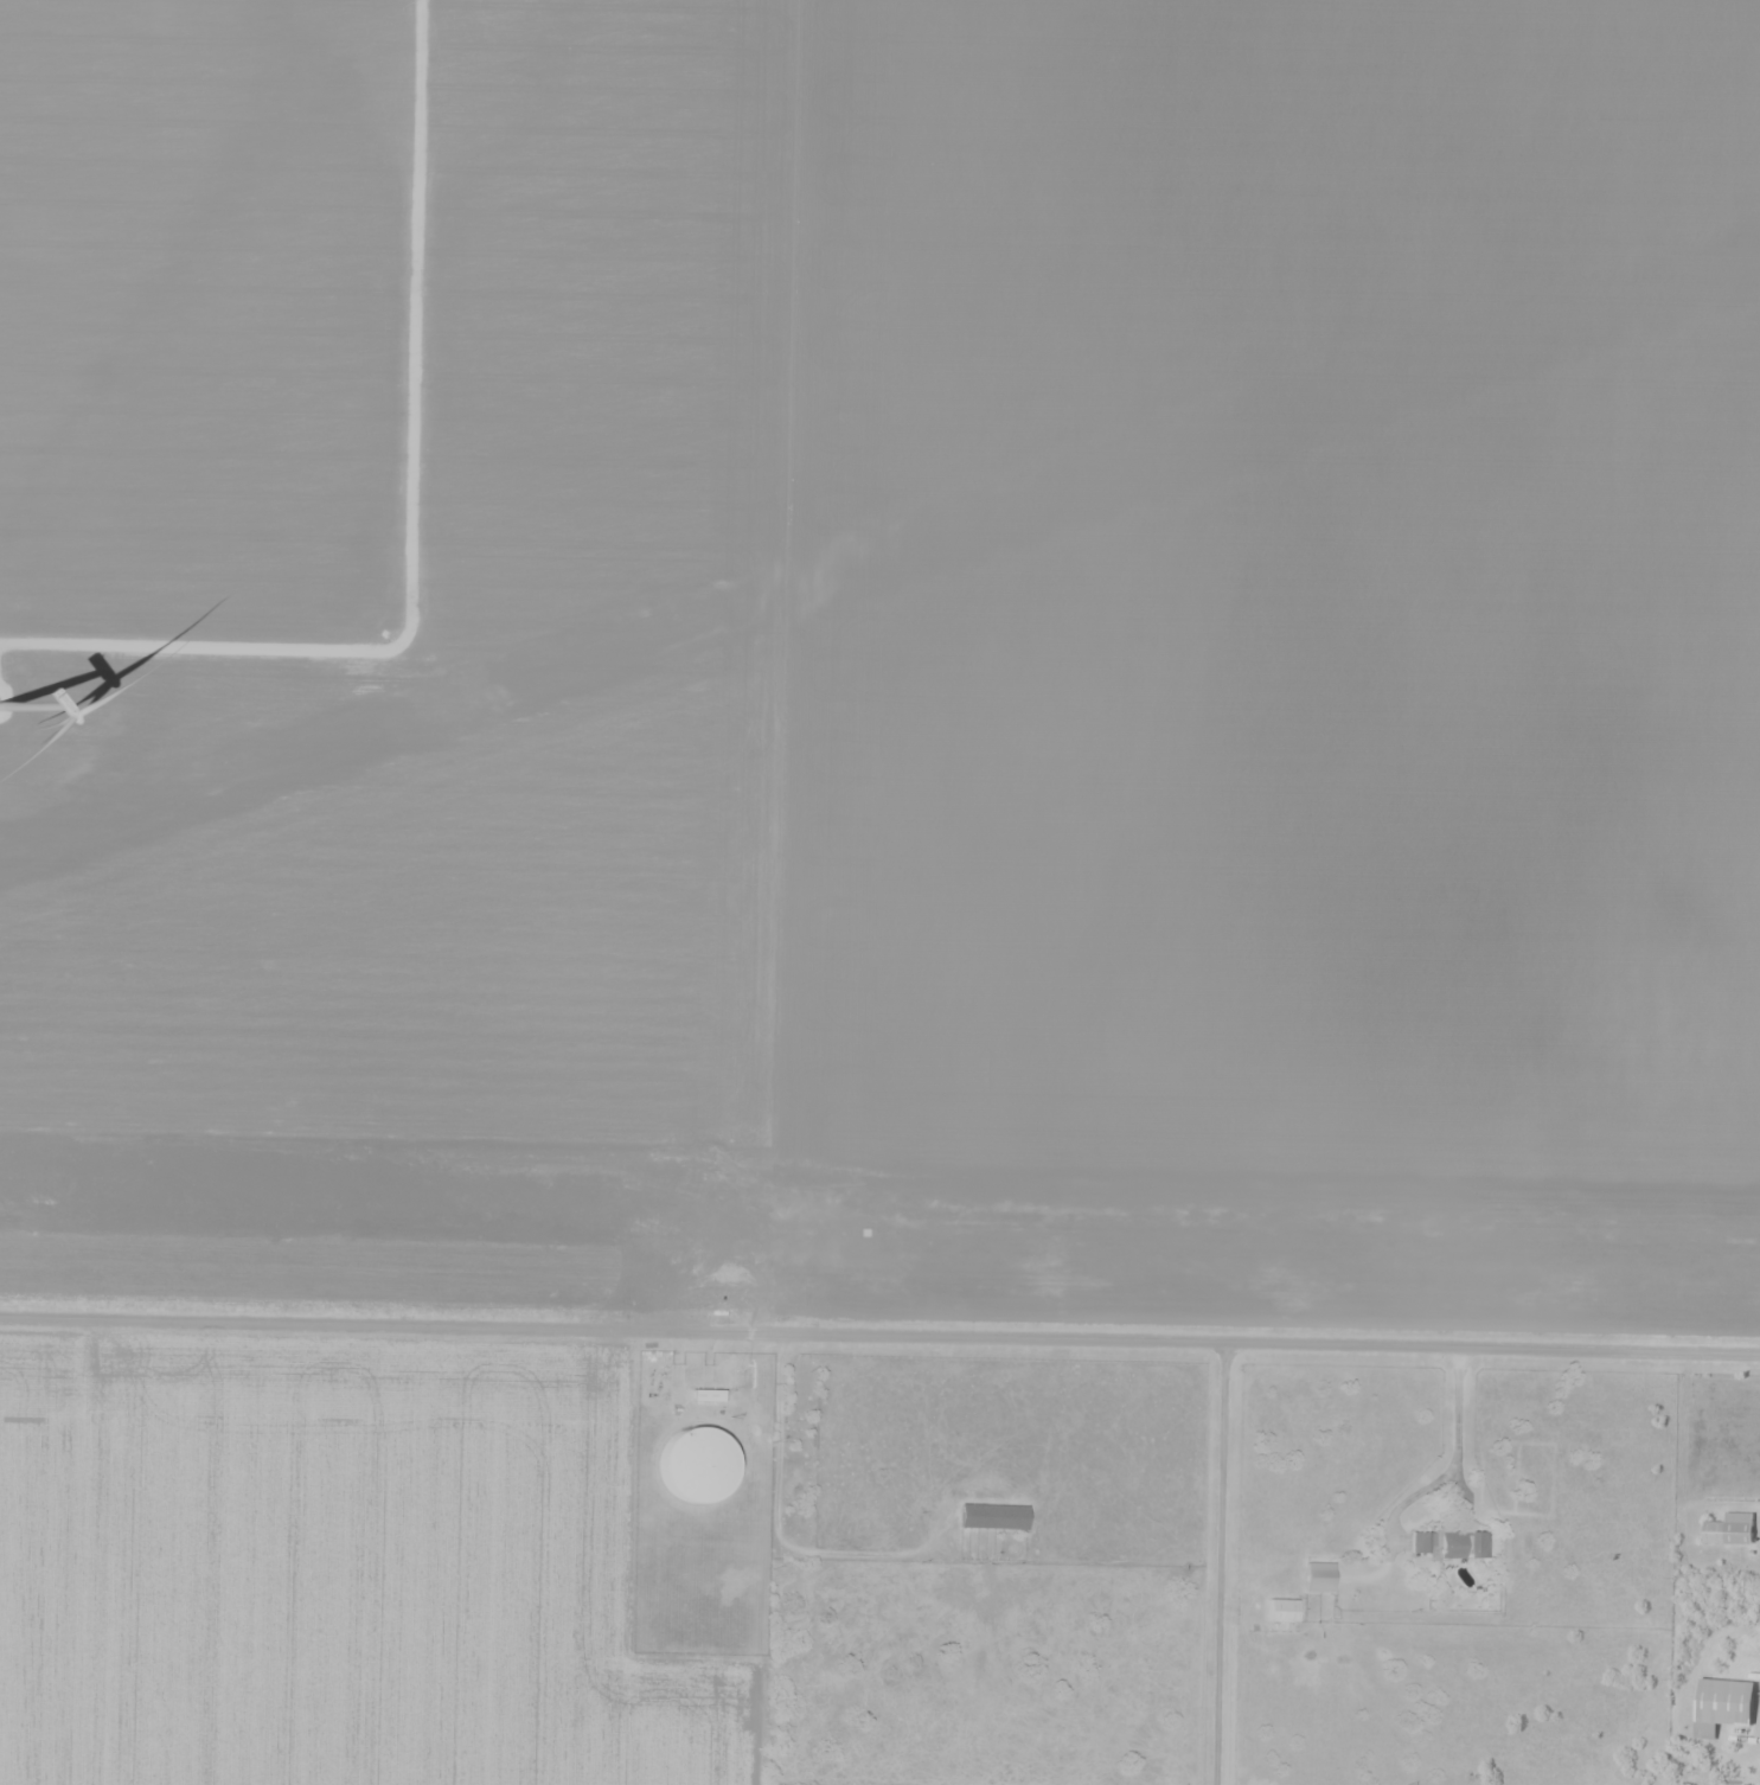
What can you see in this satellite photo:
road: (879, 1335)
building: (693, 1466)
building: (991, 1516)
building: (1730, 1530)
building: (1451, 1546)
road: (1220, 1561)
building: (1318, 1578)
building: (1281, 1613)
building: (1722, 1706)

